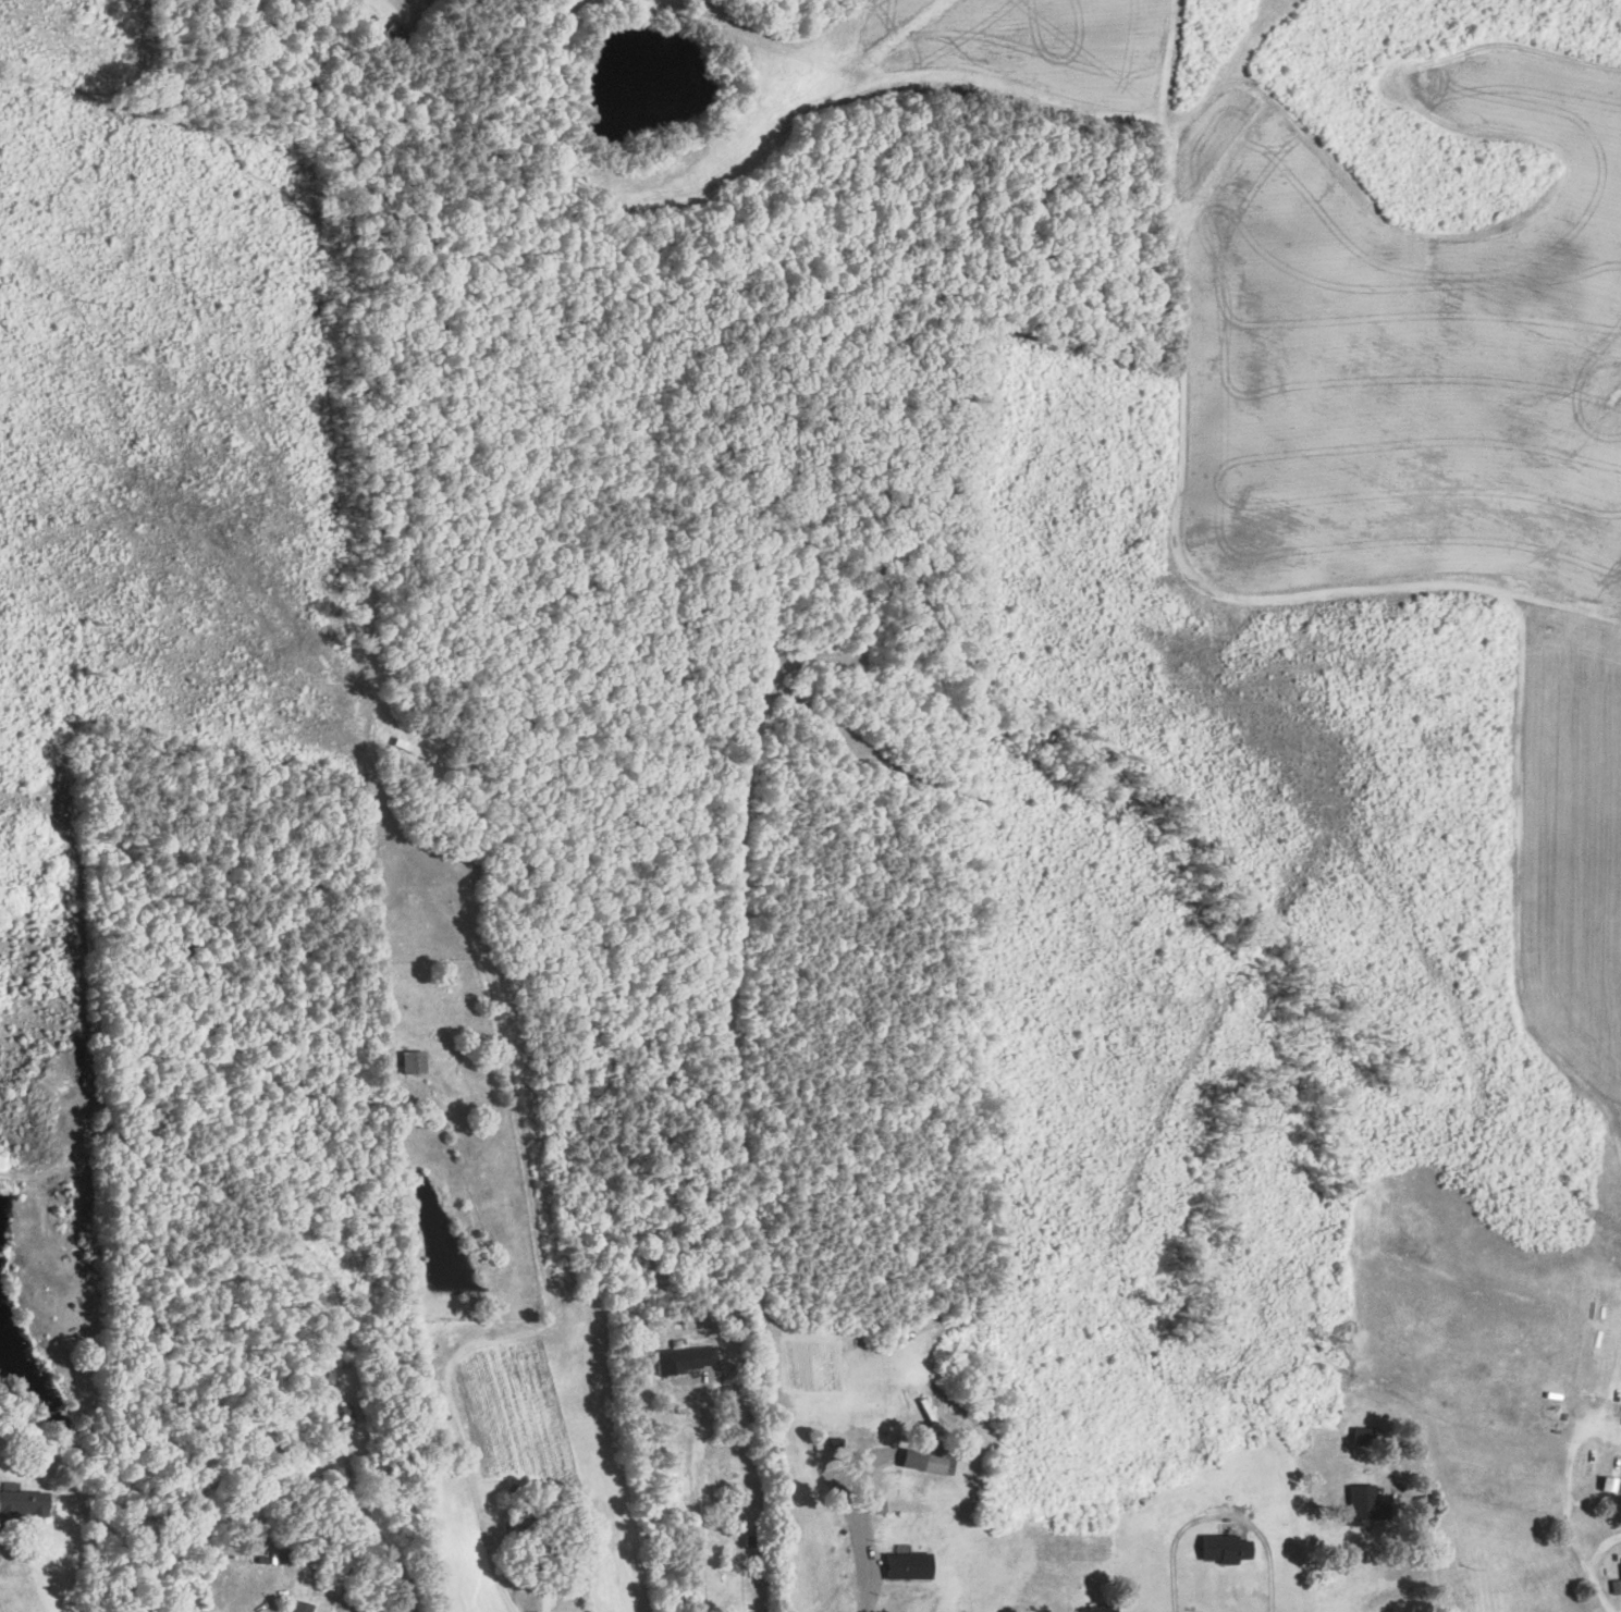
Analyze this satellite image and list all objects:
building: (680, 1359)
building: (1620, 1420)
building: (1358, 1437)
building: (923, 1462)
building: (1607, 1486)
building: (26, 1503)
building: (1358, 1504)
building: (905, 1508)
road: (686, 1513)
road: (1217, 1516)
road: (863, 1541)
building: (1219, 1549)
road: (1426, 1550)
road: (491, 1556)
building: (273, 1558)
building: (901, 1565)
building: (1614, 1583)
road: (1601, 1599)
building: (304, 1607)
building: (1092, 1609)

